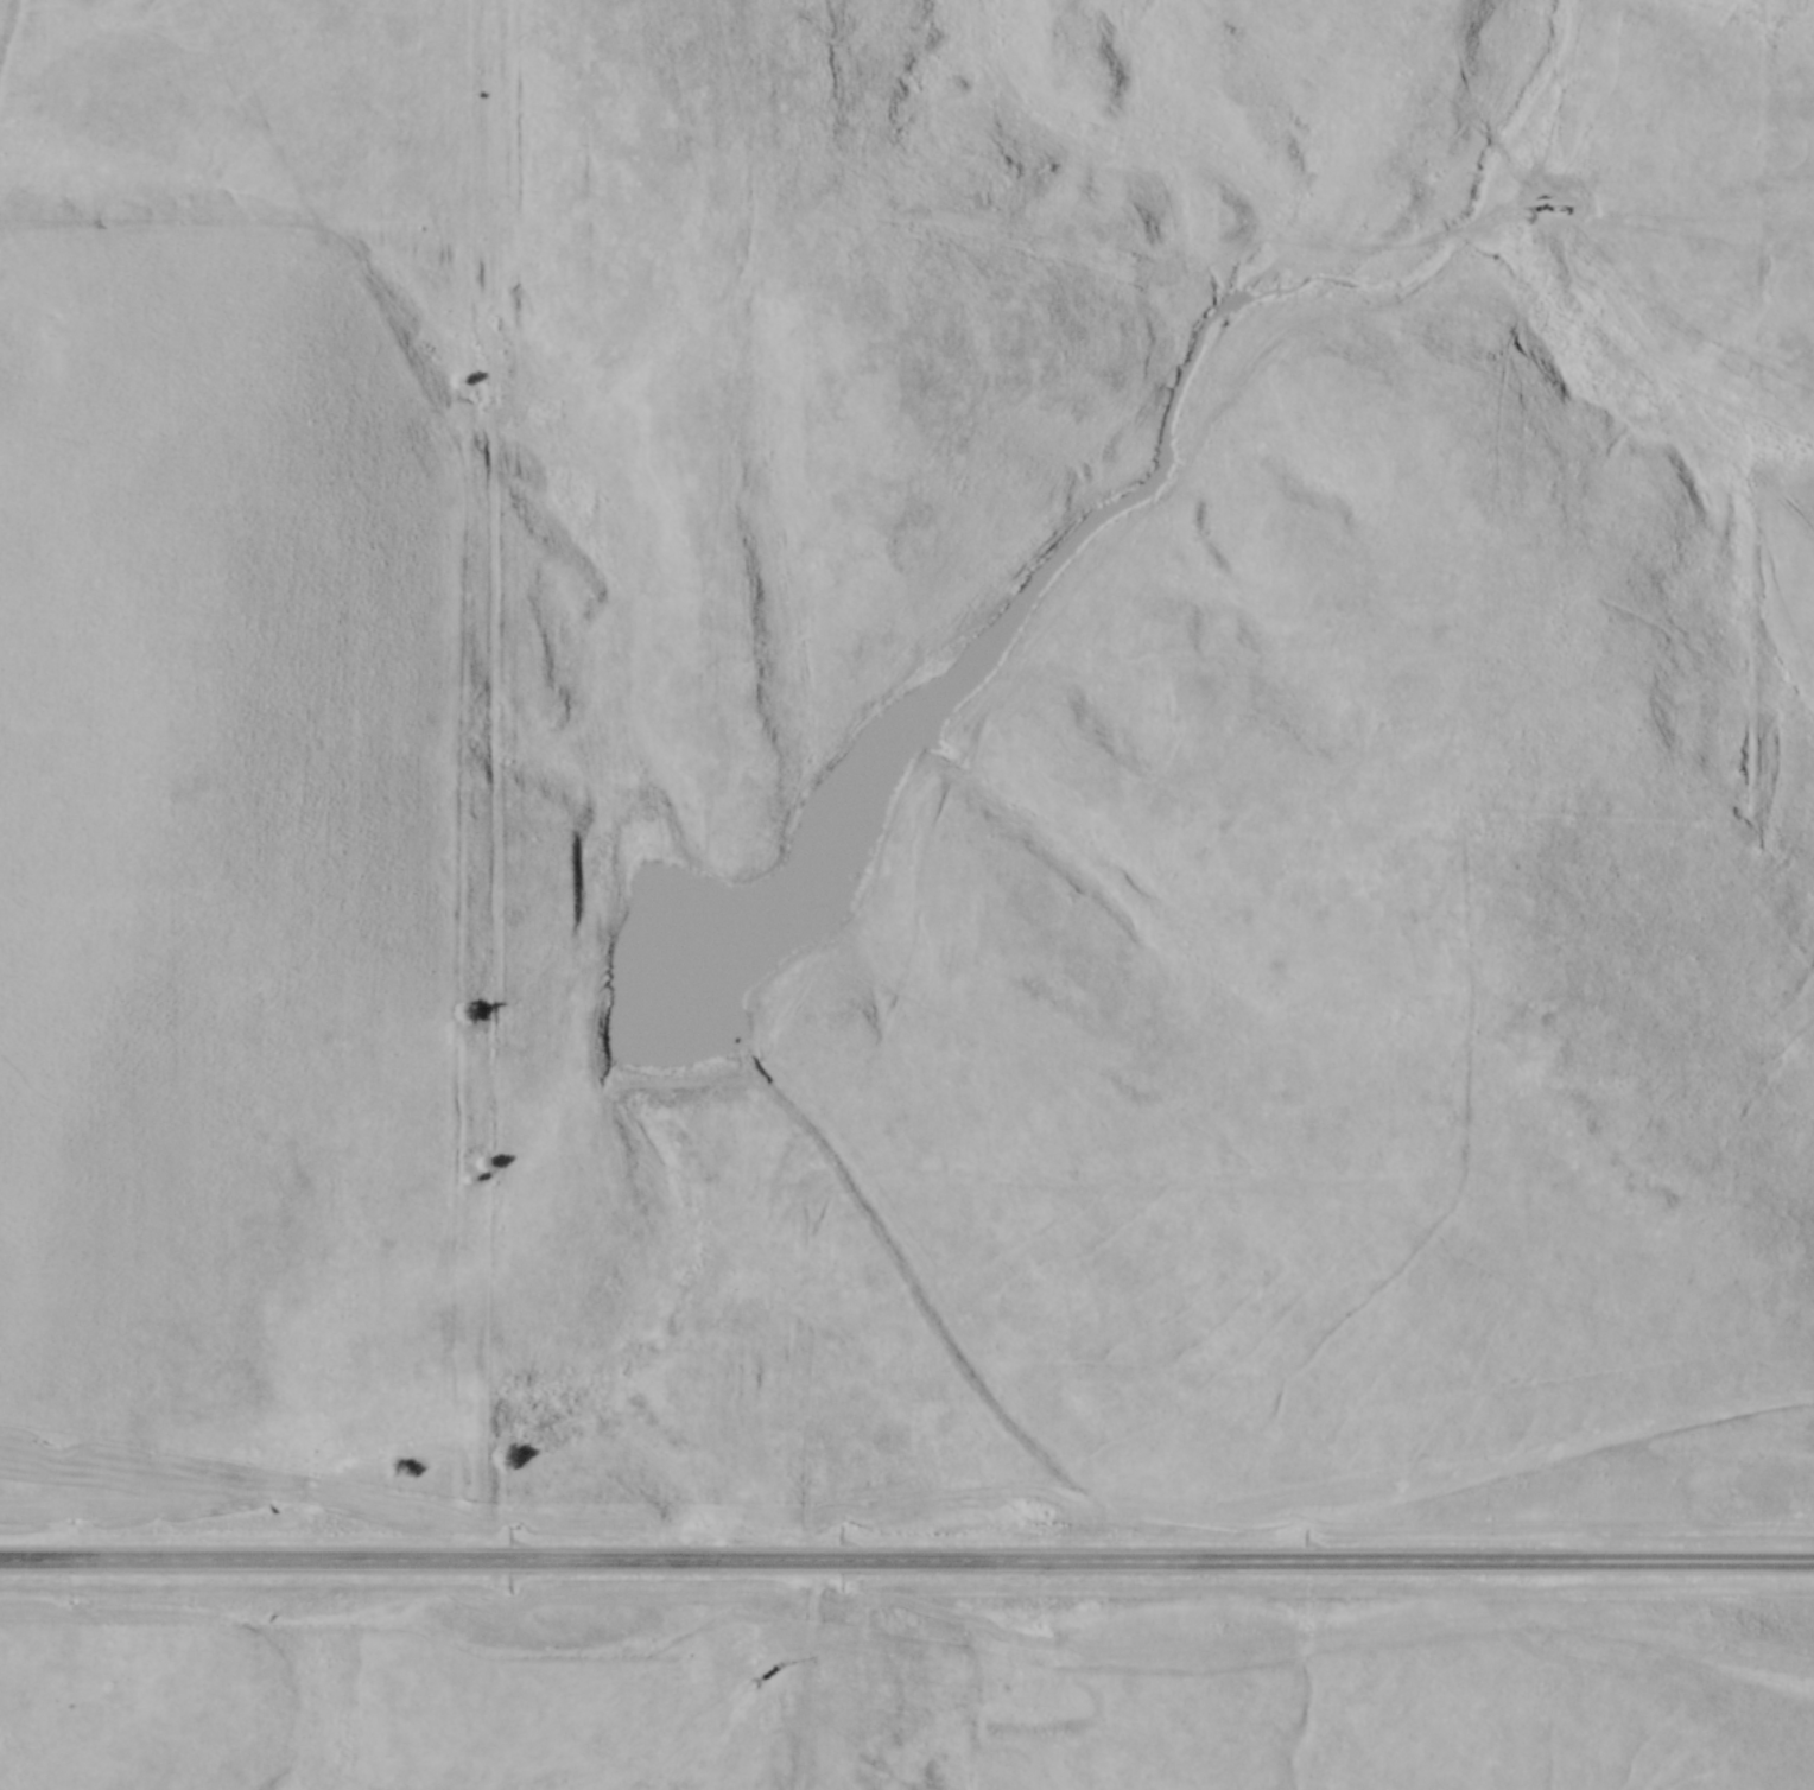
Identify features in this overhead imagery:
road: (907, 1556)

